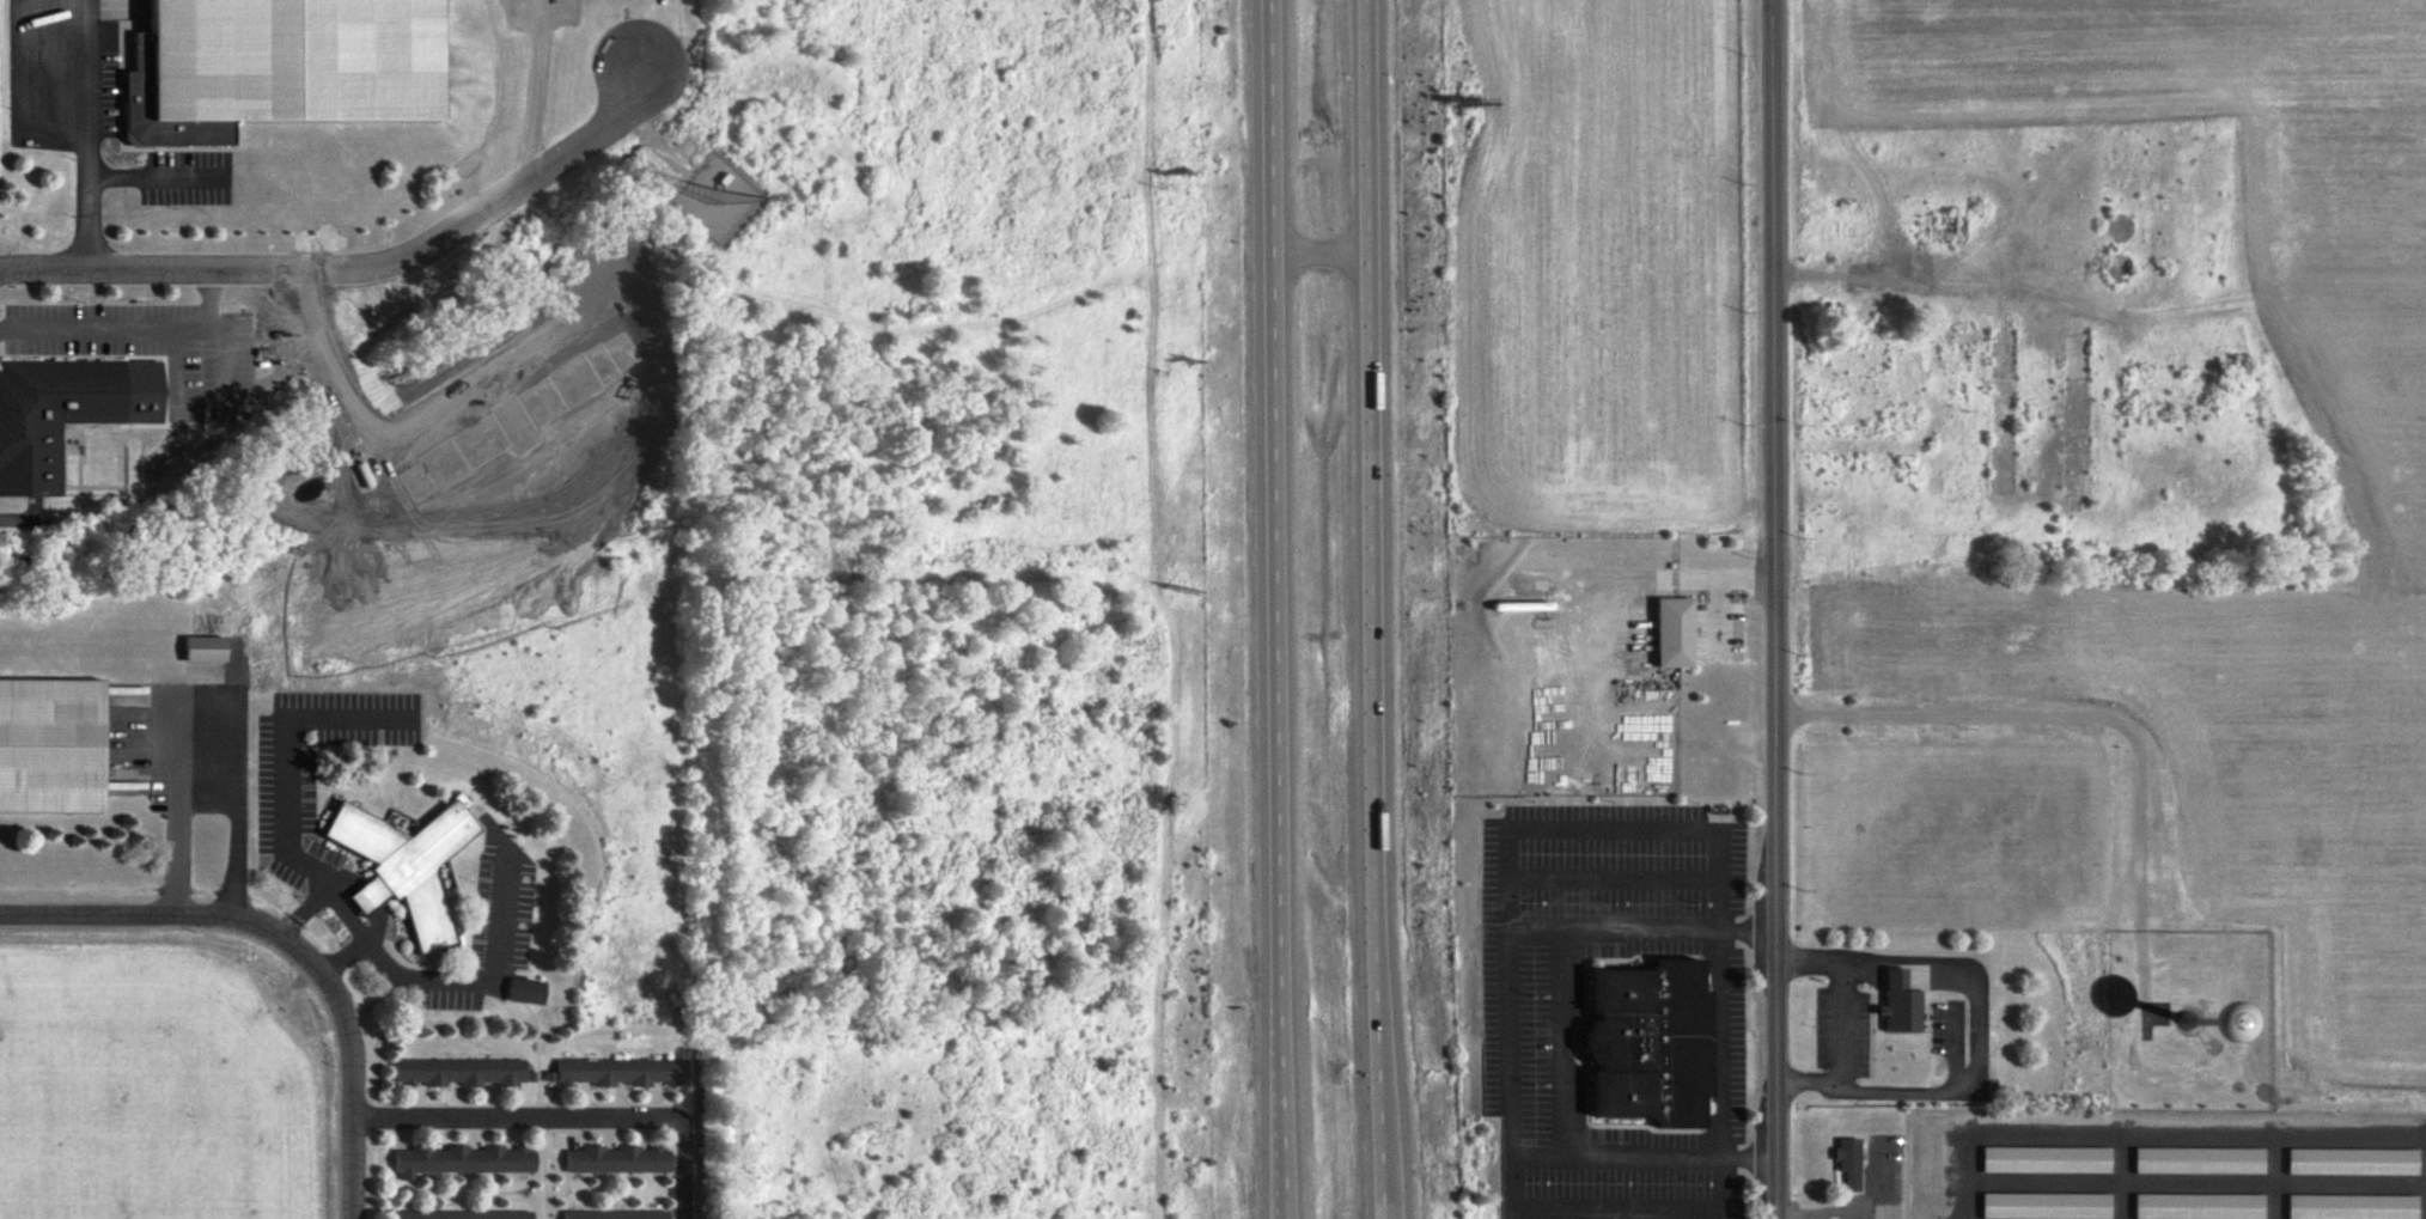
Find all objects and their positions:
building: (278, 65)
road: (72, 135)
road: (354, 264)
building: (68, 413)
road: (1281, 609)
road: (1377, 609)
road: (1769, 609)
building: (1658, 640)
building: (190, 656)
building: (43, 751)
building: (402, 864)
road: (289, 941)
building: (514, 995)
building: (1895, 1002)
building: (2150, 1023)
water tower: (2177, 1025)
building: (1635, 1048)
building: (459, 1071)
building: (620, 1071)
road: (565, 1117)
building: (461, 1159)
building: (616, 1159)
building: (1845, 1162)
building: (2032, 1165)
building: (2184, 1168)
building: (2337, 1169)
building: (2031, 1209)
building: (2183, 1209)
building: (2336, 1211)
building: (461, 1214)
building: (615, 1214)

